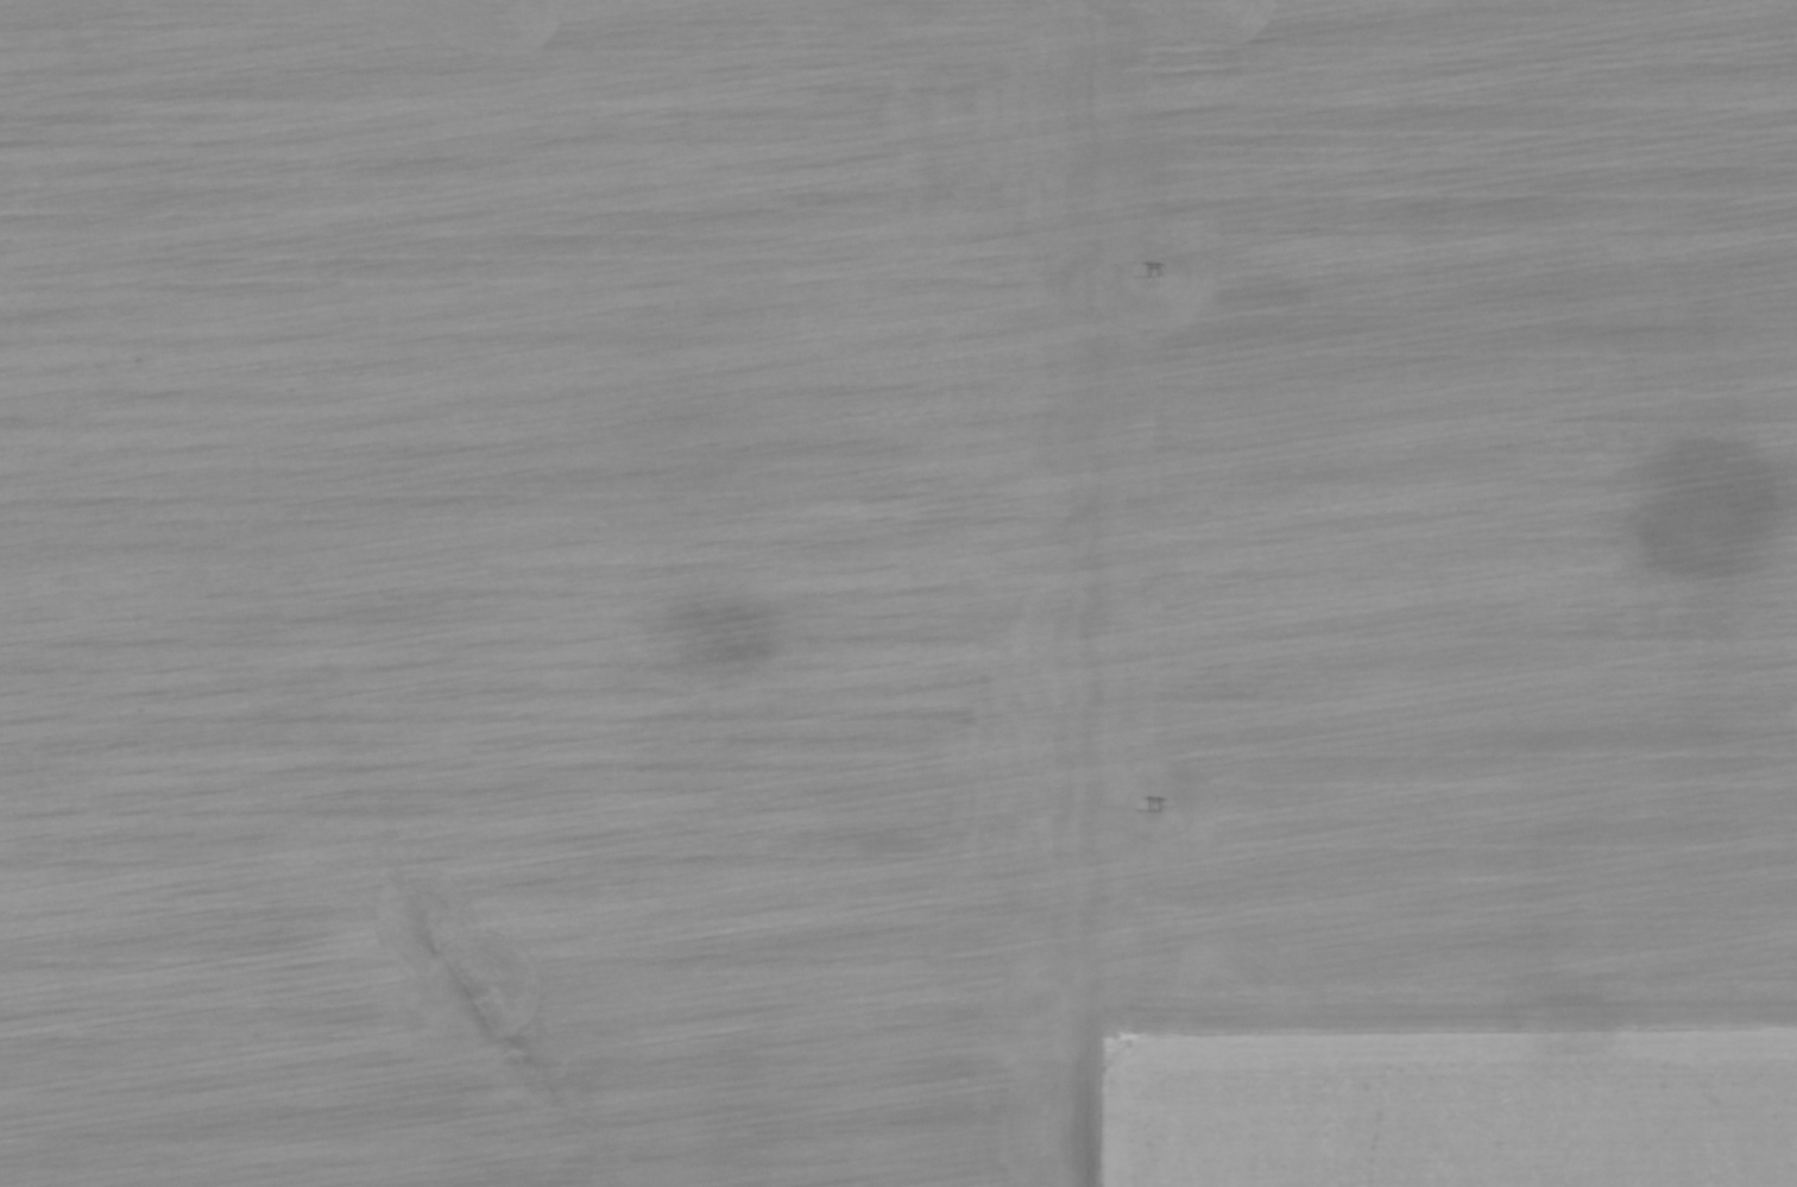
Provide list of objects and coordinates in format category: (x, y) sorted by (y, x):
power tower: (1152, 278)
crop: (898, 593)
power tower: (1153, 810)

